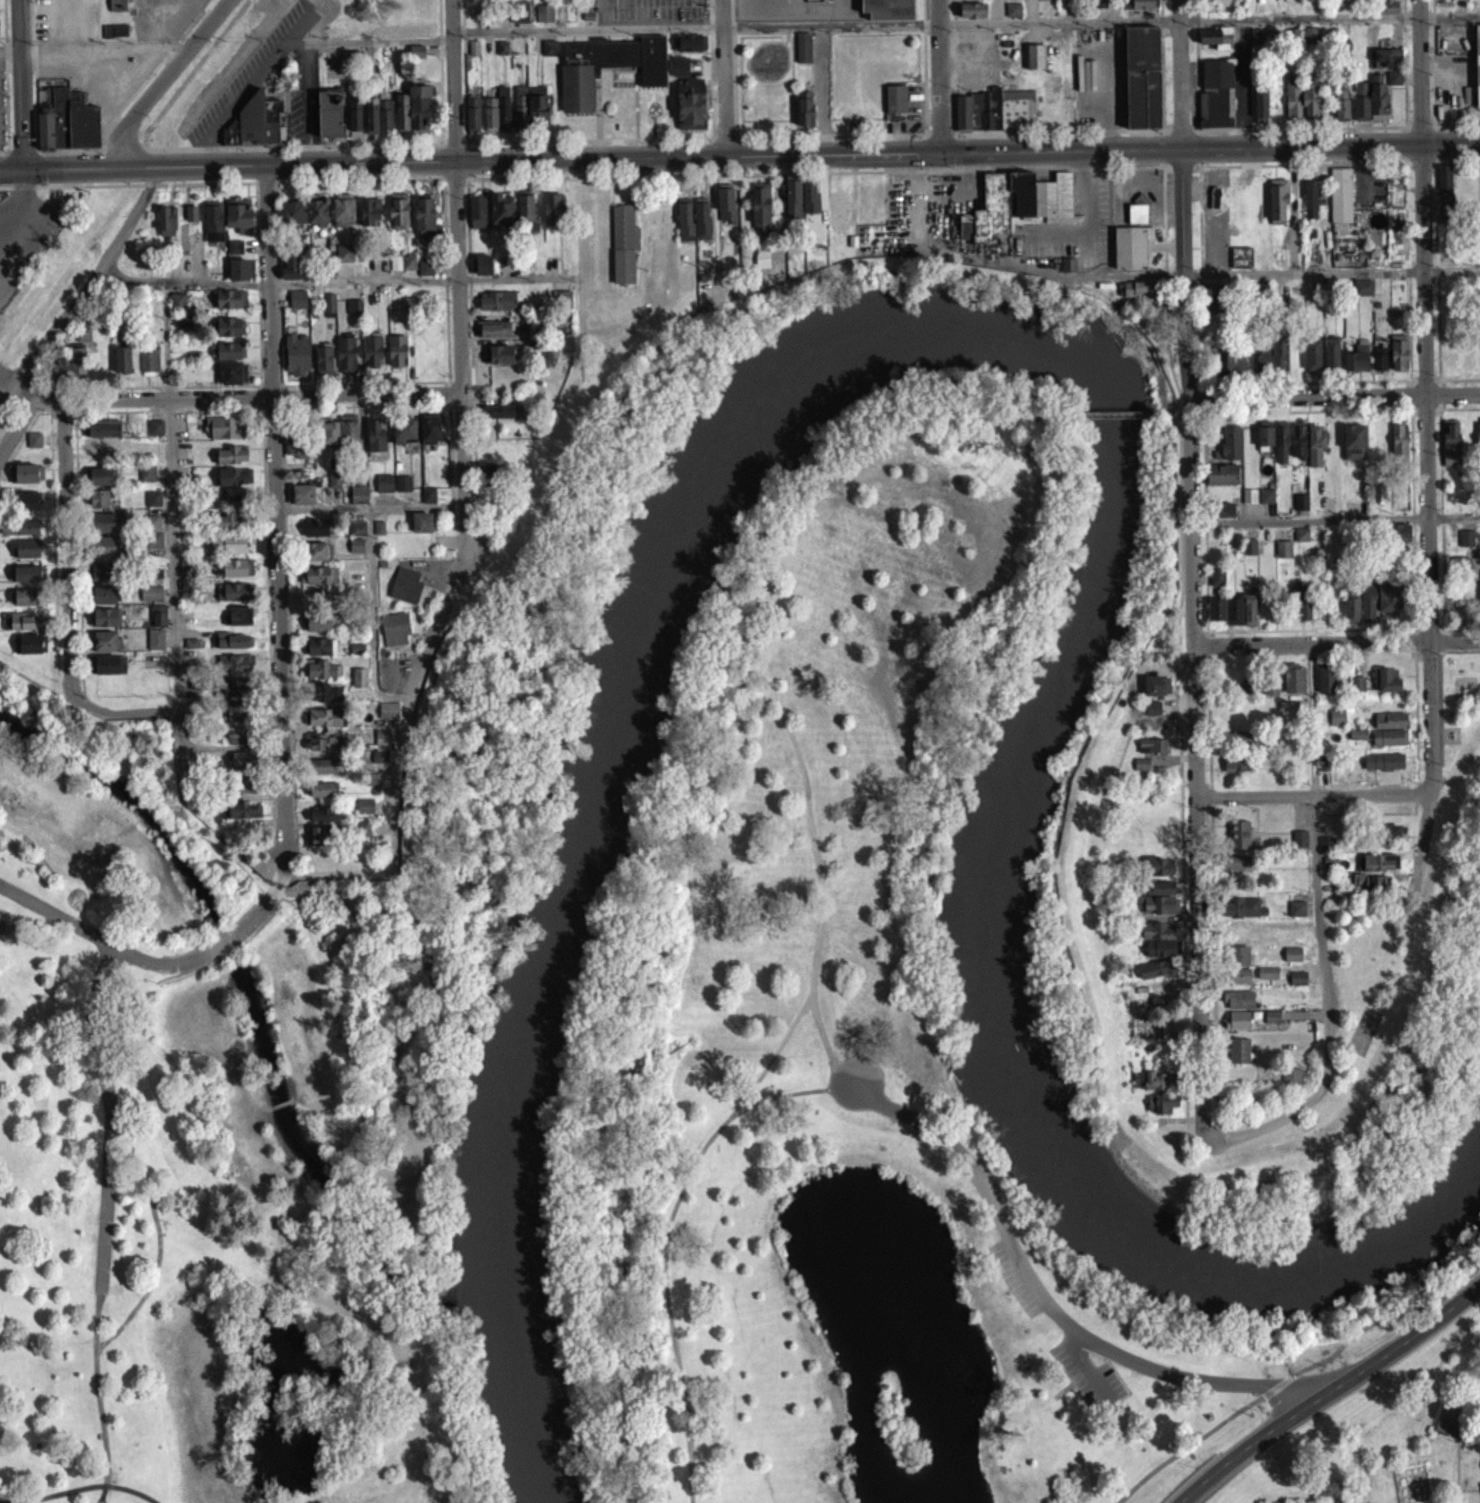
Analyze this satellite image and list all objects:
parking lot: (705, 0)
building: (813, 4)
building: (1144, 7)
building: (117, 9)
building: (1387, 9)
building: (885, 11)
parking lot: (643, 14)
building: (970, 15)
building: (1012, 16)
road: (600, 17)
building: (519, 19)
building: (543, 20)
road: (1449, 22)
road: (1297, 25)
road: (1057, 28)
road: (829, 31)
road: (586, 35)
building: (114, 37)
road: (379, 38)
building: (1309, 42)
building: (1215, 43)
road: (10, 48)
building: (501, 54)
building: (802, 54)
building: (549, 55)
road: (101, 58)
building: (416, 58)
building: (1034, 63)
road: (1432, 67)
building: (1477, 71)
road: (257, 72)
building: (679, 72)
building: (608, 73)
road: (937, 78)
road: (722, 81)
road: (163, 82)
building: (1141, 83)
building: (1393, 84)
road: (21, 86)
road: (818, 96)
building: (1216, 101)
road: (308, 103)
building: (1377, 103)
building: (895, 105)
building: (1291, 106)
building: (1310, 107)
building: (1260, 108)
building: (1360, 108)
building: (536, 109)
building: (1340, 109)
building: (690, 110)
building: (419, 113)
building: (520, 113)
building: (502, 115)
building: (804, 115)
building: (994, 116)
building: (401, 118)
building: (330, 120)
building: (378, 121)
building: (472, 121)
building: (489, 121)
building: (65, 126)
building: (354, 126)
building: (253, 127)
road: (1454, 131)
road: (210, 145)
road: (123, 153)
road: (199, 154)
road: (68, 156)
road: (4, 157)
road: (21, 157)
traffic signals: (939, 158)
road: (740, 162)
road: (1419, 168)
road: (1455, 169)
road: (1288, 170)
road: (1164, 172)
traffic signals: (21, 174)
road: (863, 177)
road: (452, 185)
road: (358, 186)
road: (263, 188)
road: (204, 189)
road: (148, 190)
road: (71, 191)
building: (1340, 201)
building: (792, 204)
building: (809, 204)
building: (1310, 207)
building: (1277, 208)
building: (725, 209)
building: (1016, 211)
building: (525, 214)
building: (834, 214)
road: (16, 215)
building: (501, 215)
building: (553, 215)
building: (760, 216)
building: (343, 217)
building: (292, 218)
building: (317, 218)
building: (369, 218)
building: (398, 218)
building: (190, 219)
building: (476, 219)
building: (423, 220)
building: (1136, 220)
building: (238, 221)
building: (684, 225)
building: (701, 225)
building: (213, 227)
building: (165, 228)
gas station: (21, 238)
building: (623, 250)
building: (234, 253)
building: (1130, 253)
building: (344, 260)
road: (2, 262)
building: (1240, 264)
building: (761, 265)
road: (1449, 267)
building: (402, 268)
building: (483, 271)
building: (1067, 271)
building: (425, 272)
road: (1301, 273)
building: (291, 275)
building: (240, 276)
road: (514, 283)
road: (361, 284)
road: (183, 287)
building: (1362, 294)
building: (1138, 295)
building: (230, 305)
building: (297, 305)
building: (562, 305)
building: (498, 307)
building: (177, 308)
building: (409, 309)
building: (329, 311)
road: (79, 312)
building: (353, 313)
road: (1418, 320)
building: (182, 328)
river: (1014, 330)
building: (229, 333)
building: (493, 335)
building: (82, 341)
road: (164, 345)
road: (1166, 348)
building: (230, 357)
building: (372, 357)
building: (397, 357)
building: (1398, 359)
building: (345, 360)
building: (1330, 360)
building: (296, 361)
building: (502, 361)
building: (1278, 362)
building: (1312, 362)
building: (1261, 364)
building: (1355, 365)
building: (122, 366)
building: (322, 366)
building: (72, 367)
building: (149, 368)
building: (1379, 370)
building: (232, 379)
road: (1332, 395)
road: (243, 402)
building: (498, 418)
road: (1094, 419)
building: (155, 434)
building: (225, 434)
building: (103, 435)
building: (429, 436)
building: (404, 437)
road: (460, 438)
building: (341, 439)
building: (1264, 440)
building: (1477, 440)
building: (375, 444)
building: (34, 446)
building: (1297, 446)
building: (1281, 449)
building: (1354, 449)
building: (1398, 449)
building: (1229, 450)
building: (1450, 451)
building: (99, 452)
building: (1314, 452)
building: (296, 454)
building: (231, 462)
building: (147, 479)
building: (25, 480)
building: (1221, 481)
building: (100, 482)
building: (234, 483)
building: (334, 486)
building: (383, 489)
building: (402, 489)
building: (305, 498)
building: (358, 501)
building: (428, 501)
building: (1265, 502)
building: (235, 503)
building: (99, 505)
building: (152, 505)
building: (26, 507)
building: (1300, 508)
road: (368, 513)
building: (1221, 516)
road: (1452, 517)
road: (275, 523)
building: (229, 528)
building: (102, 529)
building: (421, 529)
building: (19, 534)
building: (314, 534)
building: (356, 534)
building: (378, 534)
building: (153, 538)
building: (1398, 540)
building: (1300, 541)
building: (1465, 545)
building: (1233, 546)
road: (64, 547)
building: (236, 550)
building: (103, 552)
building: (356, 552)
building: (1249, 553)
building: (27, 555)
building: (1283, 555)
building: (318, 557)
road: (1193, 568)
building: (237, 574)
building: (1463, 574)
building: (103, 578)
building: (27, 580)
building: (317, 581)
building: (1216, 583)
building: (405, 592)
building: (233, 598)
building: (151, 600)
building: (1479, 600)
building: (104, 601)
building: (27, 603)
building: (1388, 605)
building: (1368, 612)
building: (1350, 614)
building: (1248, 616)
building: (1225, 617)
building: (1303, 617)
building: (158, 622)
building: (240, 622)
road: (370, 622)
building: (105, 624)
road: (172, 626)
road: (1462, 626)
building: (22, 627)
building: (318, 630)
building: (394, 635)
road: (1455, 639)
road: (1313, 641)
building: (155, 646)
building: (105, 647)
building: (232, 647)
building: (190, 649)
building: (32, 650)
building: (321, 653)
building: (235, 670)
building: (109, 671)
building: (321, 676)
building: (359, 684)
building: (1293, 685)
building: (1325, 686)
building: (1387, 686)
building: (1356, 690)
building: (1155, 692)
building: (1270, 693)
building: (234, 694)
building: (322, 699)
building: (1152, 714)
building: (388, 717)
road: (114, 719)
building: (235, 719)
building: (324, 724)
building: (1336, 724)
building: (1389, 727)
building: (1357, 741)
building: (236, 742)
building: (382, 744)
building: (1239, 744)
building: (1388, 744)
building: (322, 749)
building: (1151, 752)
road: (1432, 763)
road: (70, 765)
building: (243, 767)
building: (1382, 768)
building: (1235, 770)
building: (1323, 770)
building: (1140, 771)
building: (323, 772)
building: (374, 786)
building: (245, 791)
road: (1310, 793)
building: (323, 796)
building: (365, 813)
building: (243, 817)
building: (325, 821)
building: (362, 835)
building: (1389, 839)
building: (318, 841)
building: (1237, 841)
building: (1298, 845)
building: (1325, 850)
building: (1329, 867)
building: (1234, 869)
building: (1379, 869)
building: (1156, 873)
road: (338, 881)
building: (1373, 890)
road: (818, 895)
building: (1156, 895)
road: (252, 909)
building: (1154, 910)
road: (263, 911)
building: (1242, 914)
building: (1296, 915)
road: (273, 916)
road: (272, 918)
road: (209, 944)
building: (1158, 946)
road: (110, 955)
road: (110, 959)
building: (1291, 961)
building: (1236, 962)
park: (1410, 963)
road: (220, 964)
road: (150, 968)
road: (158, 969)
building: (1154, 976)
building: (1267, 979)
building: (1238, 982)
road: (157, 983)
building: (1297, 985)
road: (1322, 1002)
building: (1238, 1006)
building: (1271, 1023)
building: (1237, 1026)
road: (819, 1033)
building: (1238, 1049)
building: (1292, 1075)
road: (841, 1079)
building: (1154, 1079)
building: (1291, 1083)
building: (1152, 1087)
road: (840, 1094)
road: (779, 1101)
building: (1163, 1101)
road: (277, 1110)
building: (1164, 1110)
park: (621, 1121)
road: (108, 1125)
road: (115, 1129)
road: (157, 1246)
parking lot: (1011, 1283)
road: (1037, 1300)
road: (1385, 1317)
road: (1086, 1377)
parking lot: (1087, 1382)
road: (1069, 1389)
road: (1327, 1390)
road: (1276, 1391)
road: (95, 1394)
building: (1448, 1427)
road: (1189, 1450)
road: (88, 1490)
road: (94, 1491)
road: (118, 1491)
road: (101, 1495)
road: (117, 1496)

